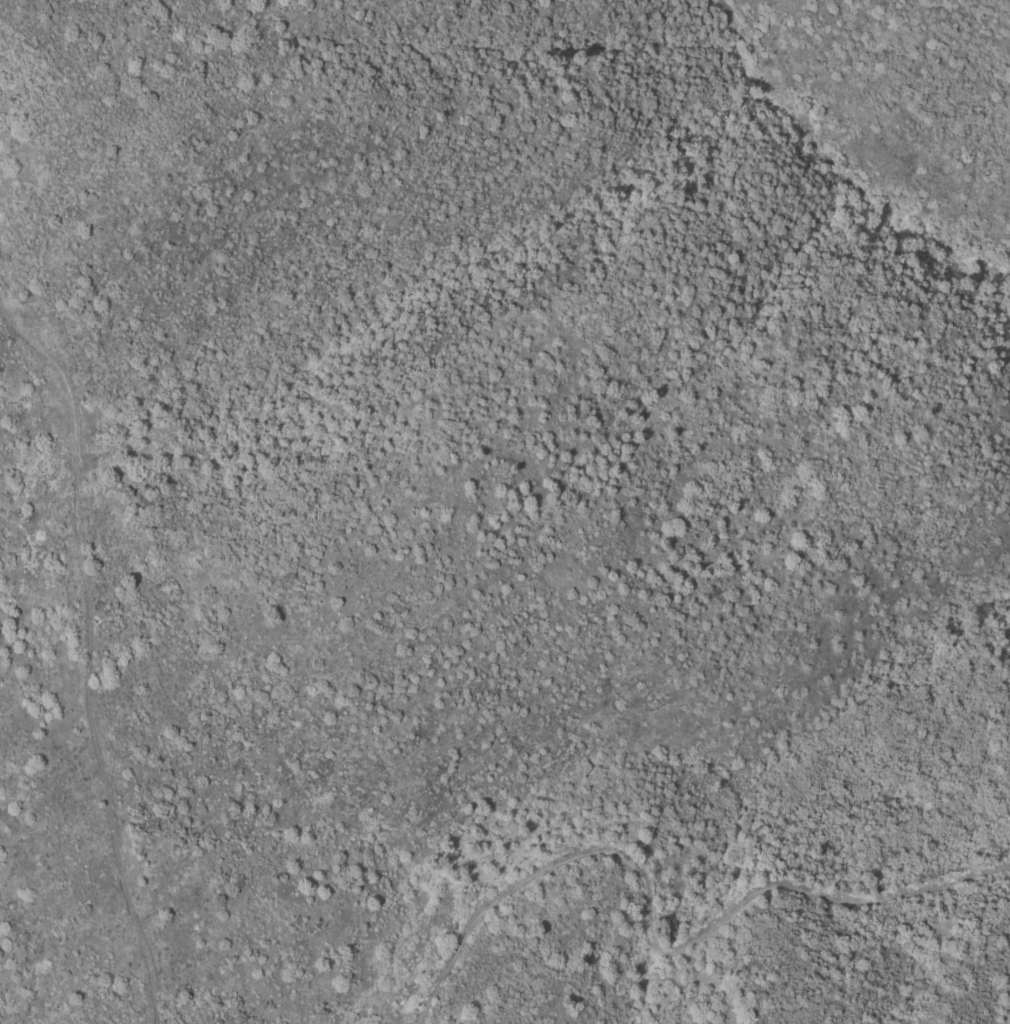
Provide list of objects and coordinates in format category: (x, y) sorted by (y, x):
road: (81, 660)
road: (647, 945)

